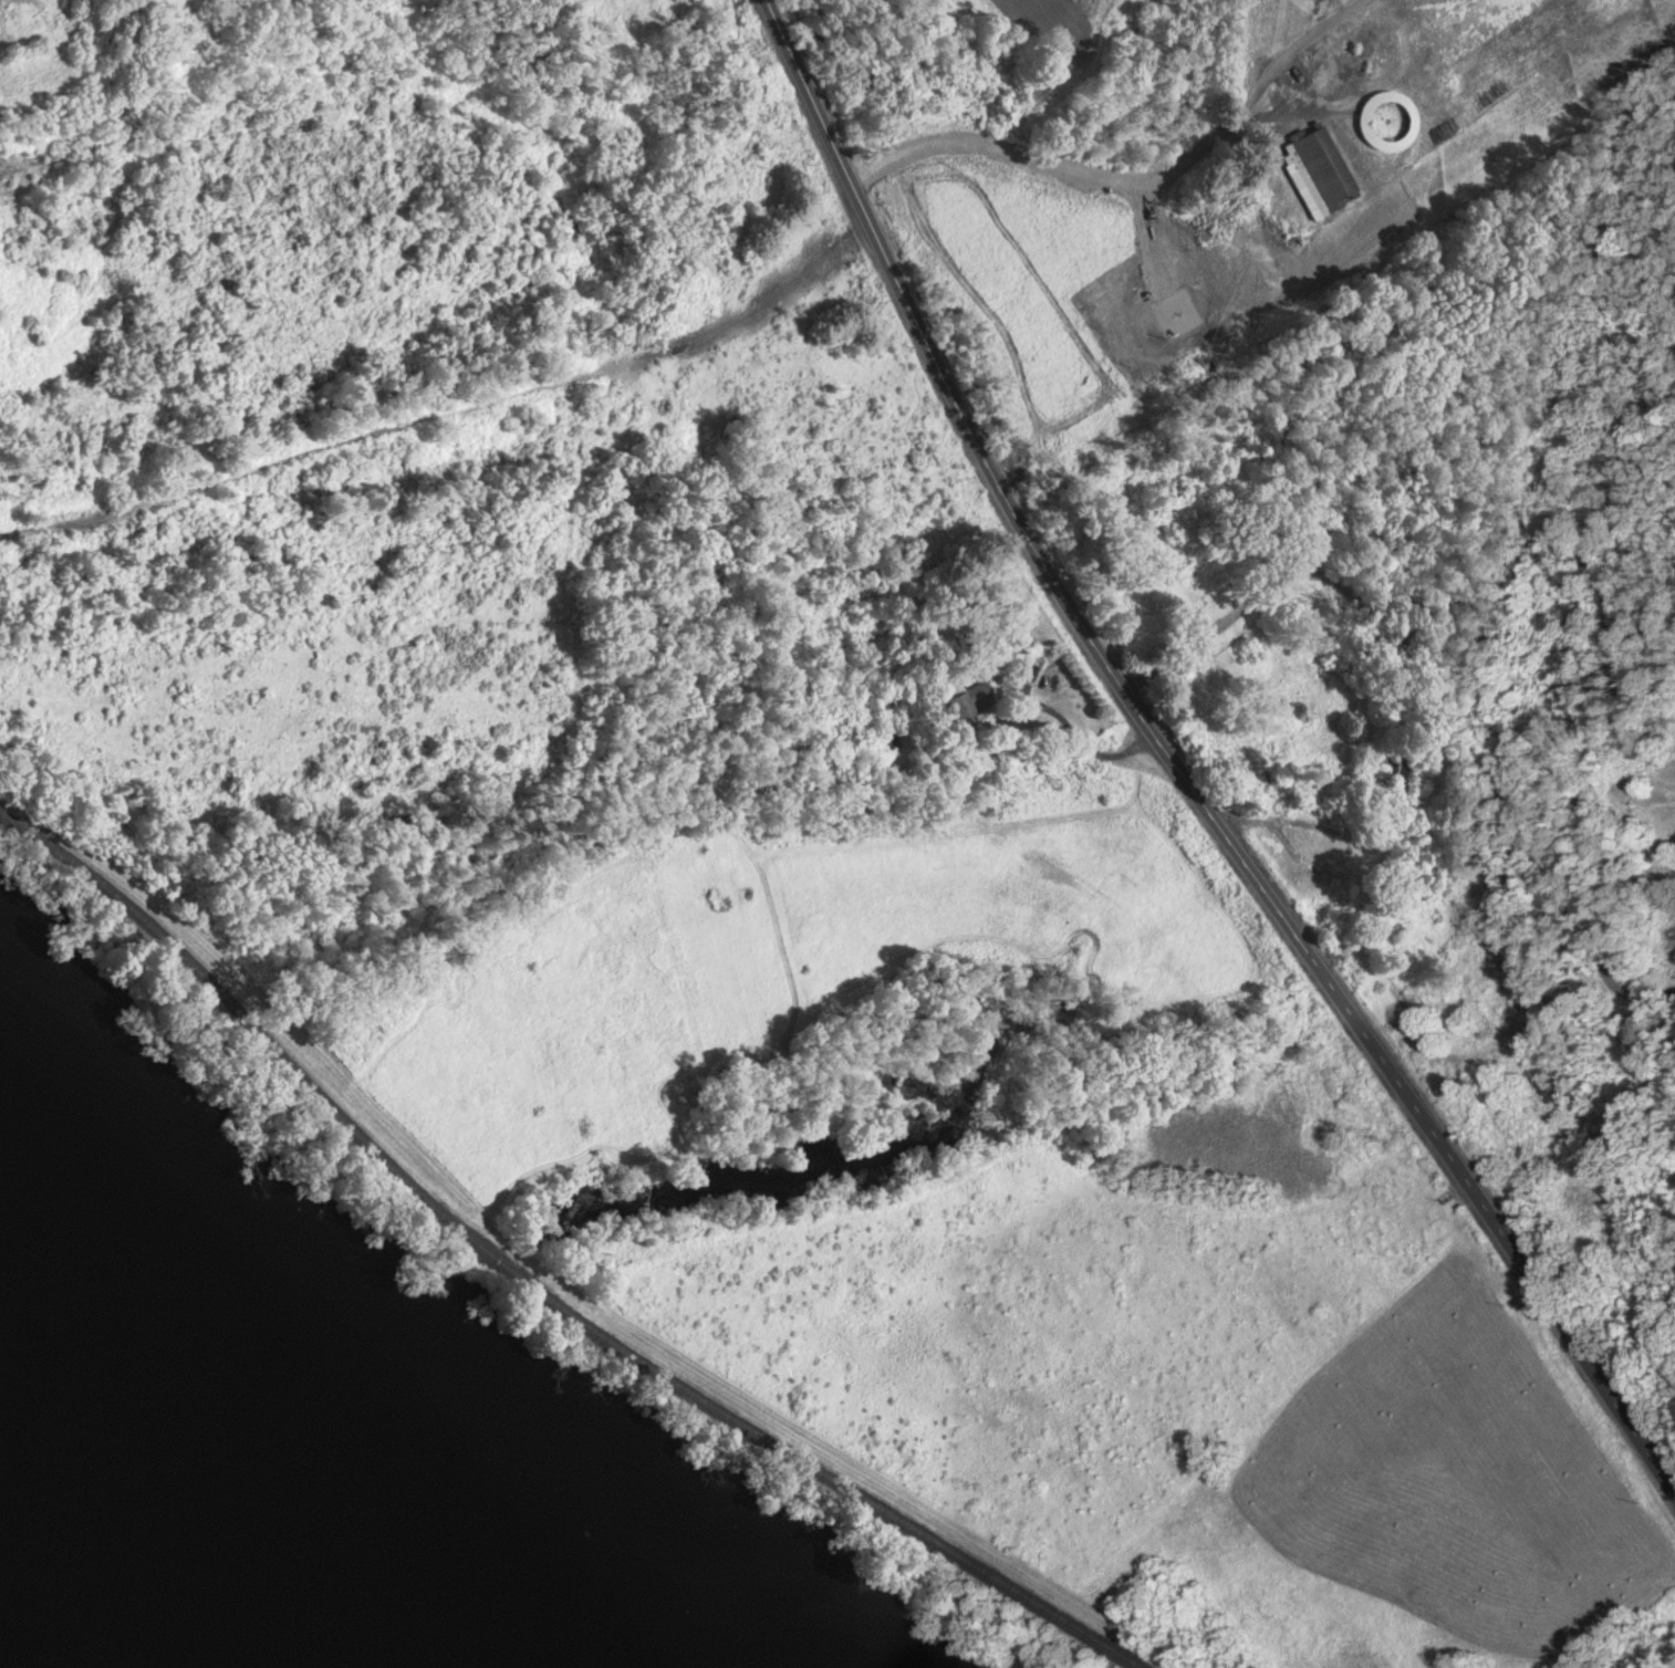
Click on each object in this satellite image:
crop: (1009, 6)
road: (1196, 64)
road: (1281, 86)
road: (1032, 161)
building: (1310, 163)
crop: (1096, 346)
road: (447, 407)
road: (1223, 625)
building: (1023, 648)
building: (954, 681)
road: (1071, 729)
road: (1500, 757)
building: (1392, 763)
road: (1178, 771)
crop: (1656, 822)
building: (1672, 832)
road: (1341, 833)
road: (1391, 879)
road: (1653, 1001)
road: (1008, 1153)
railway: (530, 1283)
road: (1278, 1405)

